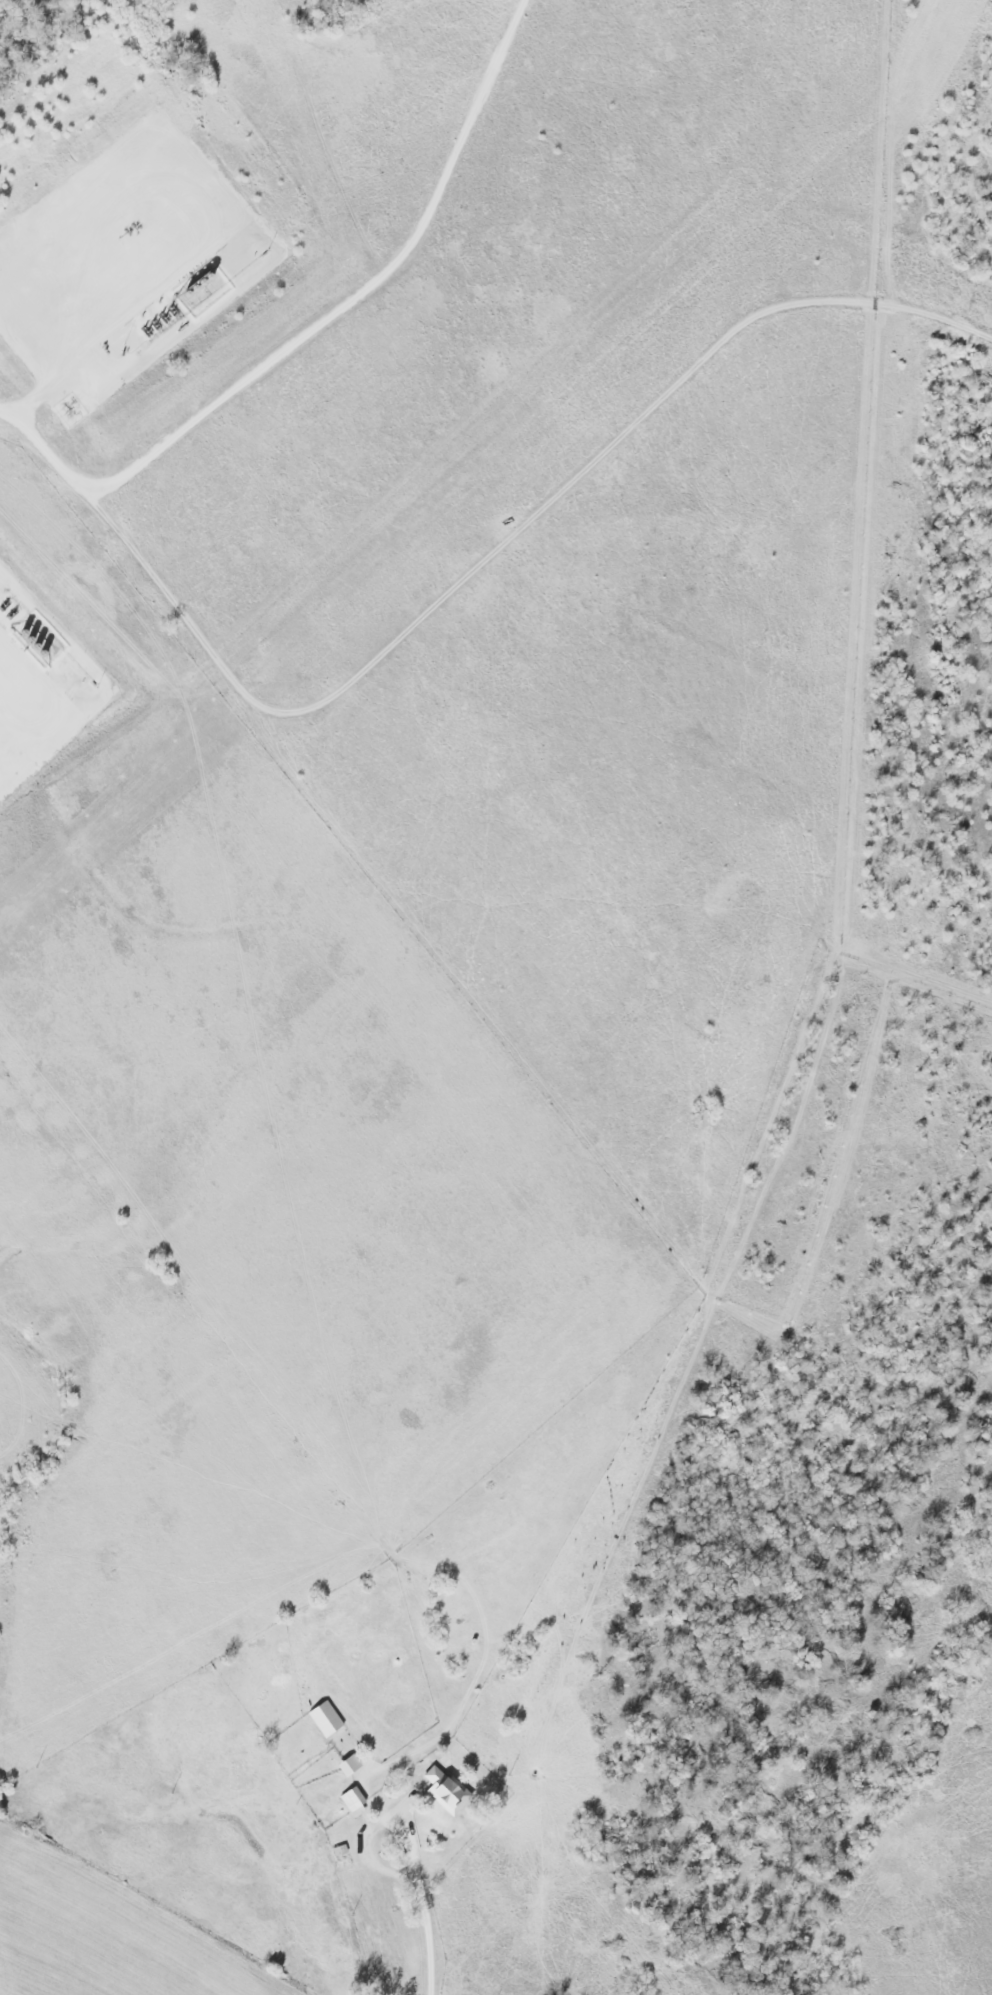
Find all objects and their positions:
road: (118, 294)
road: (315, 339)
road: (501, 554)
building: (328, 1719)
building: (449, 1791)
building: (356, 1802)
road: (420, 1910)

